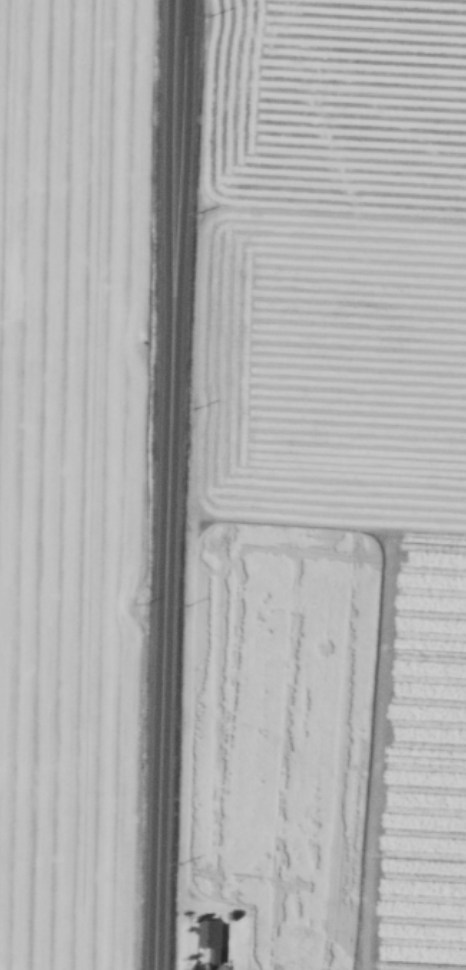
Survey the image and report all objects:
road: (176, 136)
crop: (233, 485)
road: (164, 621)
building: (214, 938)

